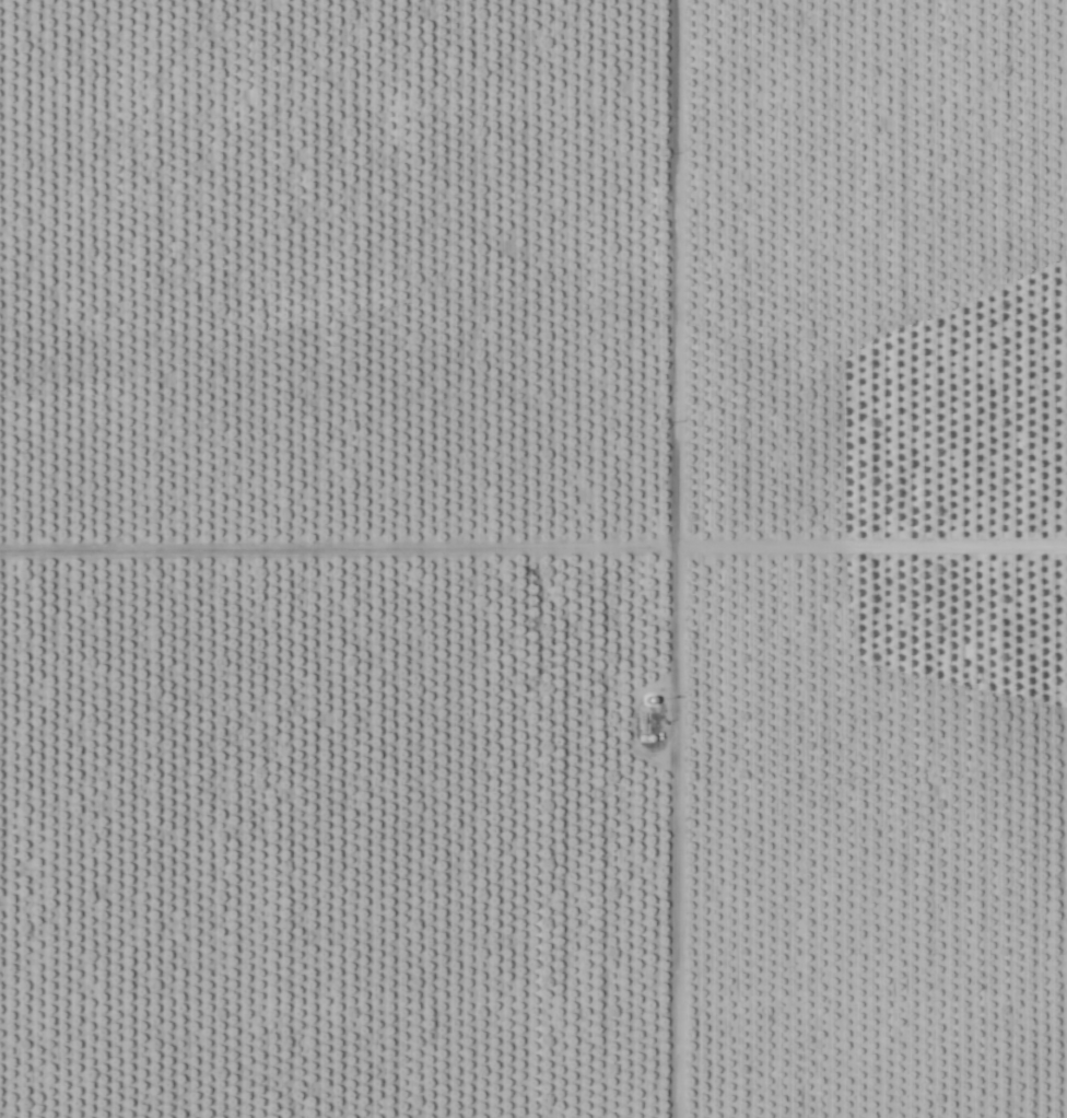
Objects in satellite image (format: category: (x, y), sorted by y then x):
crop: (333, 560)

